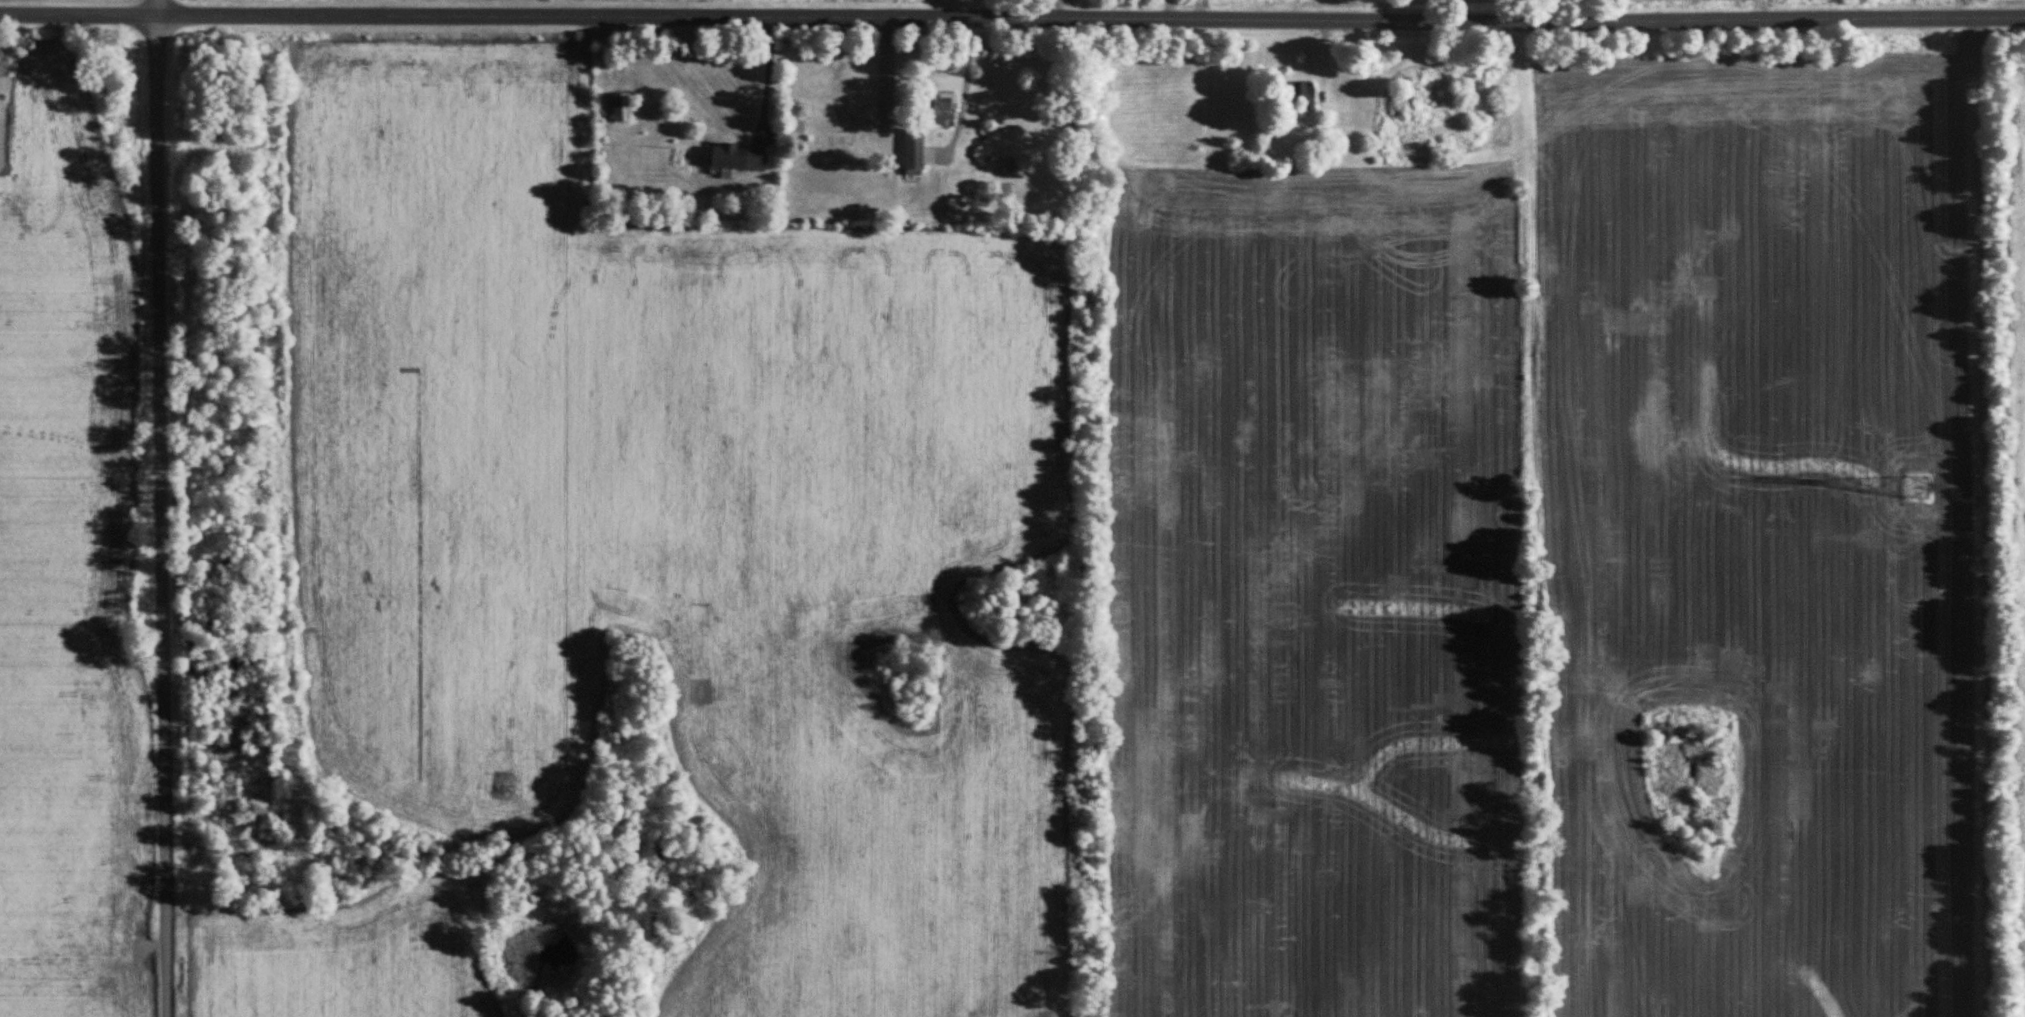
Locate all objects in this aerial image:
road: (1550, 13)
road: (1012, 18)
road: (767, 73)
power tower: (1914, 489)
road: (166, 508)

